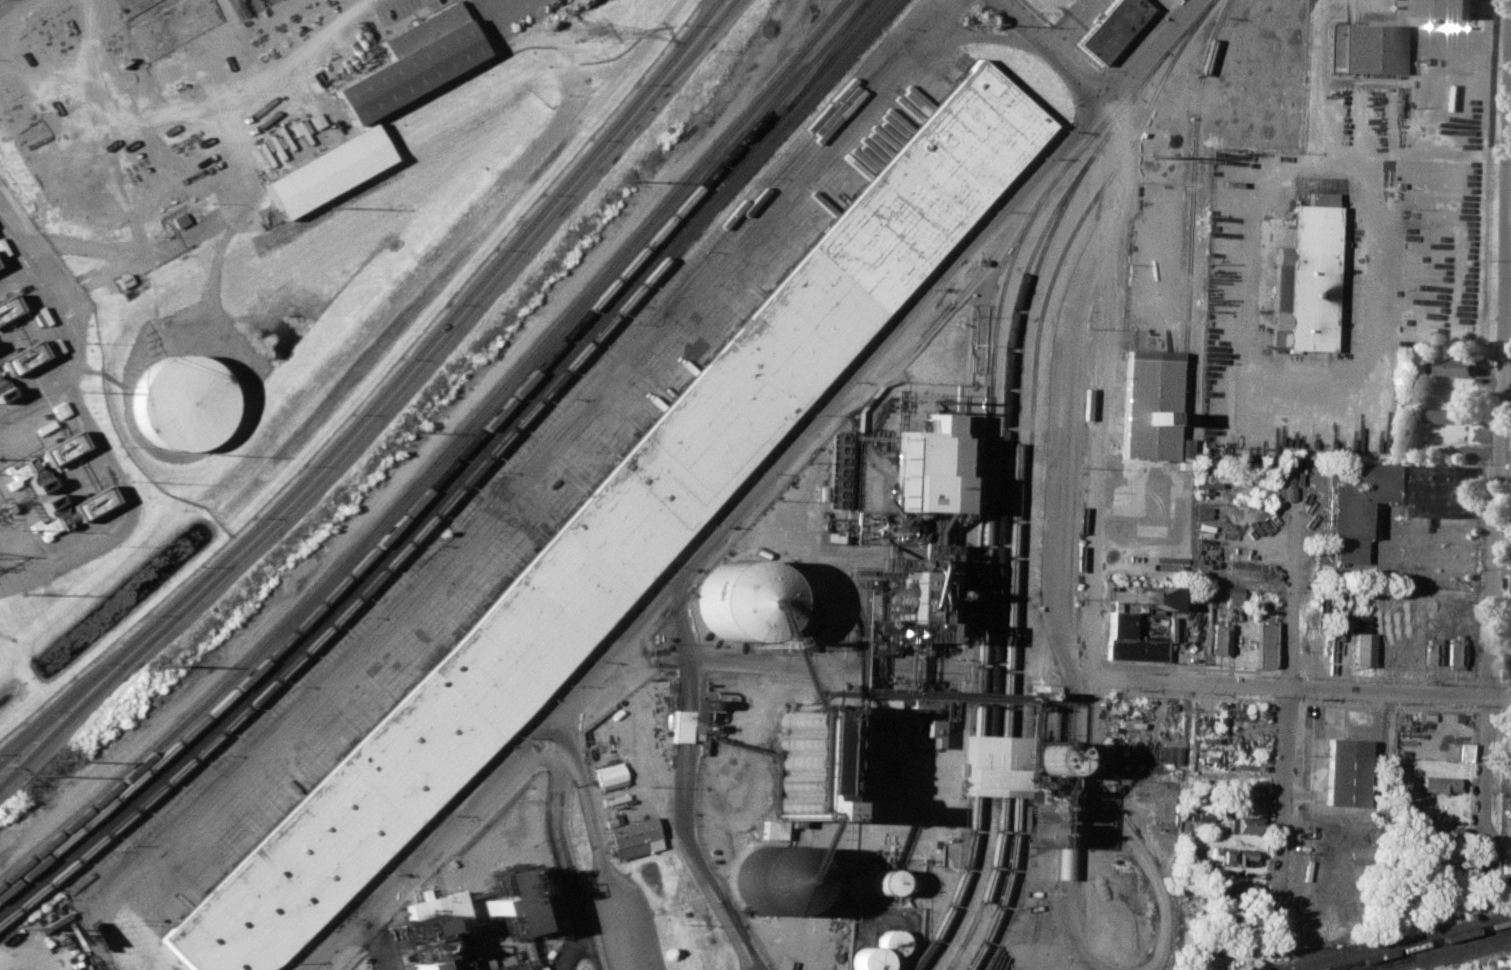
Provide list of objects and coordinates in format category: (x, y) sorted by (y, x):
building: (1448, 8)
road: (15, 9)
road: (1067, 23)
building: (1113, 27)
road: (927, 28)
building: (421, 29)
road: (968, 29)
power tower: (580, 31)
building: (1335, 46)
building: (1372, 48)
road: (1051, 49)
railway: (823, 56)
building: (407, 70)
road: (190, 109)
power tower: (1155, 157)
building: (326, 170)
power tower: (611, 180)
road: (1253, 193)
power tower: (330, 208)
railway: (1190, 211)
building: (1281, 225)
road: (197, 226)
road: (1147, 271)
building: (1305, 276)
road: (1381, 283)
building: (6, 307)
railway: (994, 331)
railway: (1035, 345)
building: (18, 357)
building: (1454, 365)
railway: (1005, 372)
power tower: (82, 392)
road: (367, 394)
building: (179, 403)
storage tank: (179, 403)
building: (1150, 411)
building: (1445, 415)
road: (1062, 418)
power plant: (47, 421)
power tower: (389, 430)
railway: (1015, 438)
building: (59, 447)
railway: (438, 454)
railway: (449, 463)
building: (922, 469)
railway: (458, 471)
railway: (465, 479)
chimney: (38, 481)
road: (754, 491)
building: (1382, 498)
chimney: (52, 504)
road: (485, 511)
building: (615, 533)
power substation: (15, 560)
road: (1498, 582)
building: (1227, 591)
power tower: (26, 594)
building: (920, 595)
building: (1162, 596)
building: (737, 602)
silo: (737, 602)
building: (799, 623)
building: (1220, 635)
building: (1131, 639)
building: (1265, 642)
building: (1362, 648)
building: (1432, 651)
building: (1456, 651)
building: (1508, 663)
road: (827, 665)
power tower: (161, 666)
road: (1290, 688)
road: (1286, 694)
building: (879, 708)
building: (686, 726)
building: (931, 731)
building: (1464, 751)
building: (1168, 753)
road: (1312, 763)
building: (995, 766)
building: (1346, 772)
building: (608, 773)
building: (1440, 784)
road: (681, 787)
building: (586, 809)
building: (1201, 813)
building: (1244, 824)
building: (1442, 832)
building: (634, 839)
road: (596, 845)
building: (1238, 858)
road: (561, 862)
building: (1122, 877)
building: (767, 880)
silo: (767, 880)
building: (882, 882)
railway: (985, 886)
railway: (1003, 886)
railway: (956, 887)
railway: (970, 887)
building: (1234, 889)
building: (505, 901)
railway: (1509, 930)
building: (435, 931)
building: (1117, 933)
building: (888, 941)
railway: (1384, 942)
road: (373, 944)
railway: (1420, 945)
railway: (1437, 950)
road: (20, 955)
building: (865, 959)
railway: (1392, 963)
road: (1478, 964)

